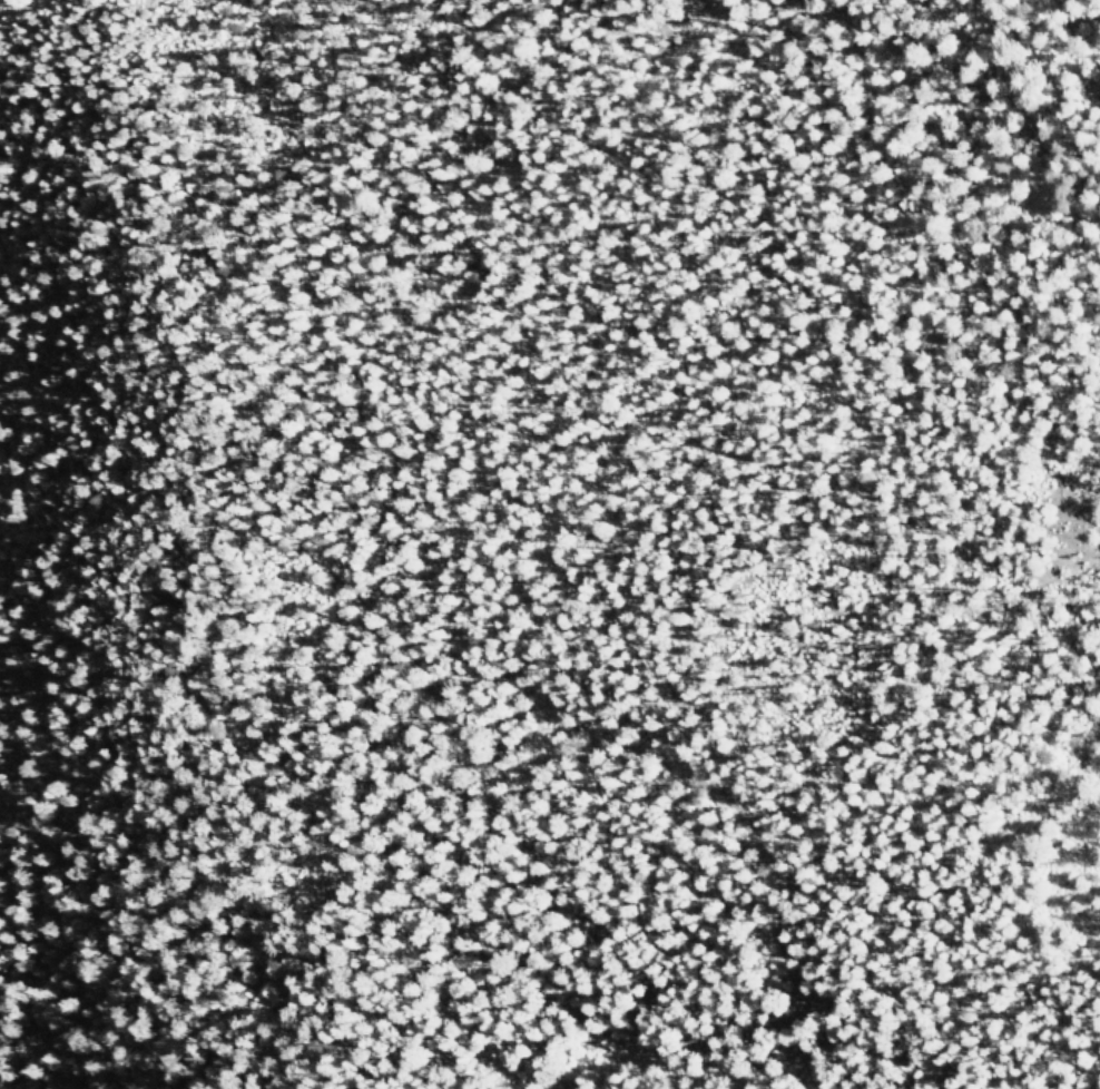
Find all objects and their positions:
road: (24, 104)

